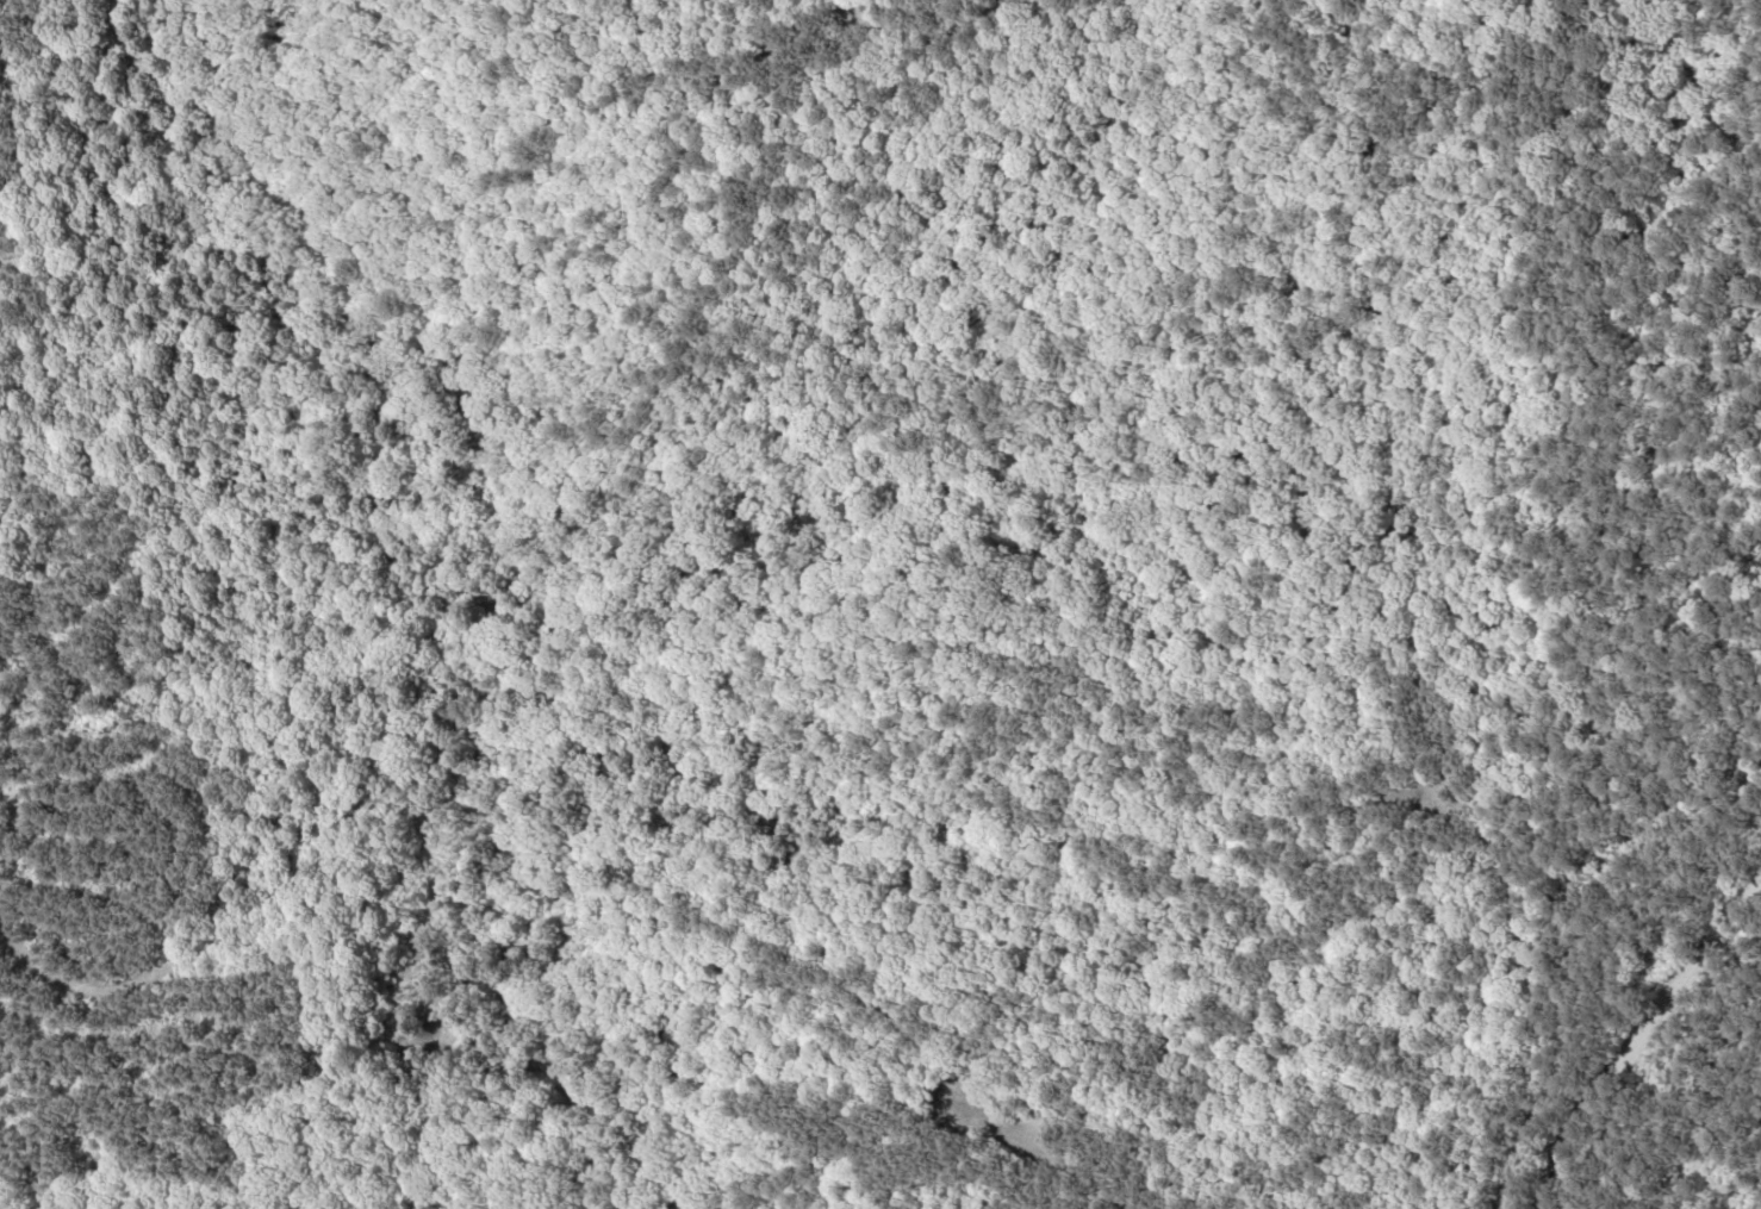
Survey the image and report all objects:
road: (1666, 1072)

